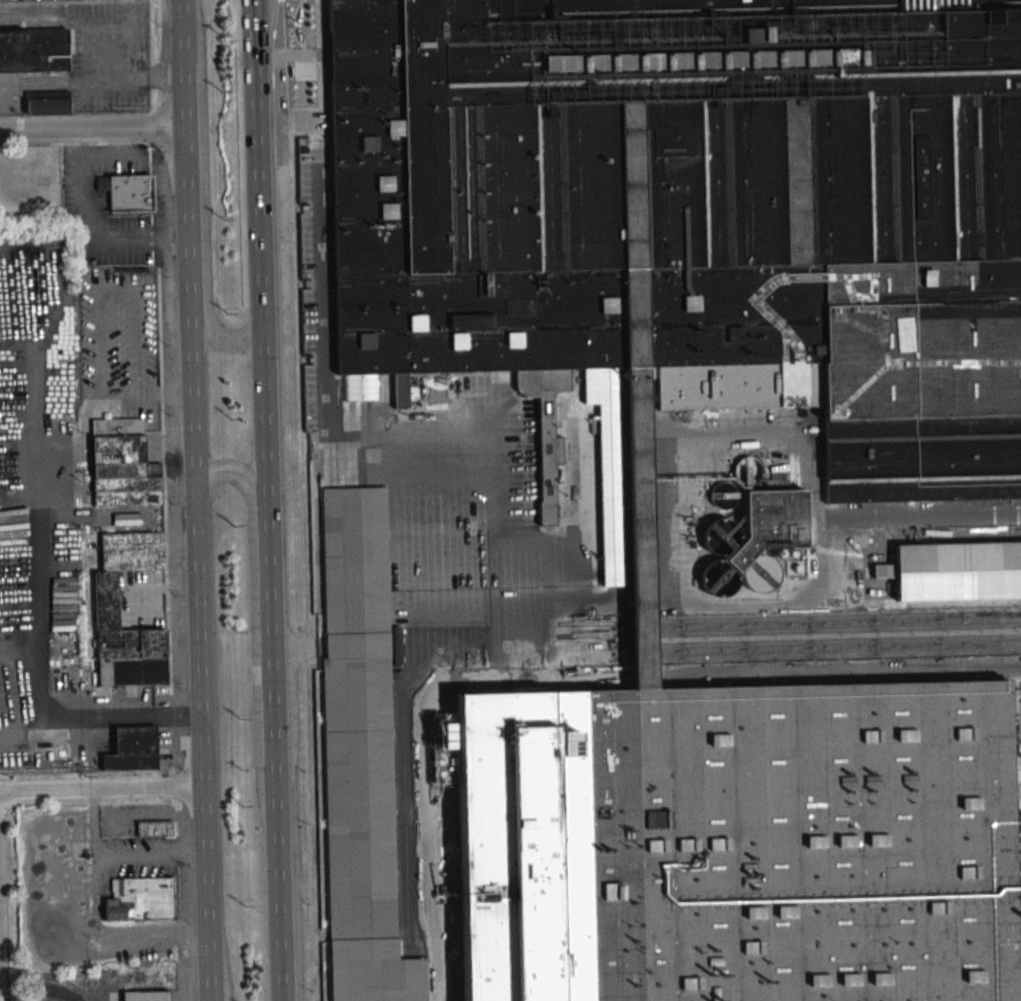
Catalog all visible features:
road: (84, 16)
road: (179, 30)
building: (33, 50)
road: (143, 77)
road: (53, 81)
building: (46, 103)
road: (287, 123)
road: (90, 133)
road: (113, 151)
road: (182, 180)
building: (127, 192)
building: (695, 218)
road: (86, 222)
road: (258, 260)
road: (217, 332)
road: (134, 342)
road: (102, 343)
road: (188, 389)
road: (162, 390)
building: (634, 393)
building: (121, 464)
road: (34, 470)
road: (241, 479)
building: (715, 487)
road: (300, 500)
building: (759, 534)
building: (957, 571)
road: (160, 592)
road: (195, 593)
building: (106, 600)
railway: (788, 618)
railway: (788, 630)
railway: (816, 640)
road: (268, 642)
railway: (817, 654)
building: (358, 707)
road: (99, 712)
building: (132, 749)
road: (199, 749)
road: (147, 790)
road: (47, 792)
road: (201, 821)
road: (96, 824)
building: (154, 828)
building: (736, 844)
road: (150, 855)
road: (275, 882)
road: (95, 895)
building: (136, 900)
road: (204, 926)
road: (150, 935)
road: (211, 982)
building: (145, 996)

